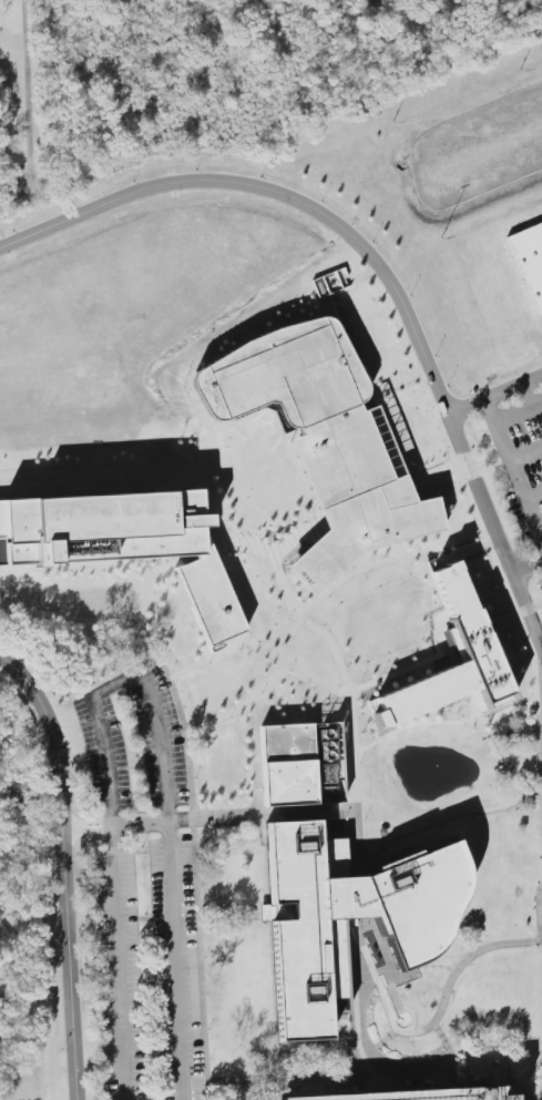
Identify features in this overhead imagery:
road: (278, 189)
building: (529, 259)
building: (334, 283)
road: (526, 396)
road: (519, 414)
building: (328, 449)
road: (526, 456)
road: (513, 467)
parking lot: (518, 468)
road: (478, 483)
road: (534, 497)
road: (481, 528)
building: (119, 532)
road: (361, 569)
road: (528, 569)
road: (145, 577)
building: (470, 642)
road: (229, 650)
road: (413, 664)
road: (268, 679)
road: (123, 682)
road: (350, 704)
road: (442, 722)
park: (442, 770)
building: (288, 783)
road: (208, 819)
road: (86, 823)
road: (139, 824)
road: (106, 825)
road: (67, 826)
road: (88, 832)
road: (65, 866)
parking lot: (142, 889)
road: (227, 909)
road: (540, 911)
road: (349, 919)
building: (307, 931)
road: (175, 961)
road: (116, 962)
road: (354, 1011)
road: (432, 1020)
park: (388, 1021)
road: (378, 1041)
road: (449, 1052)
building: (422, 1093)

